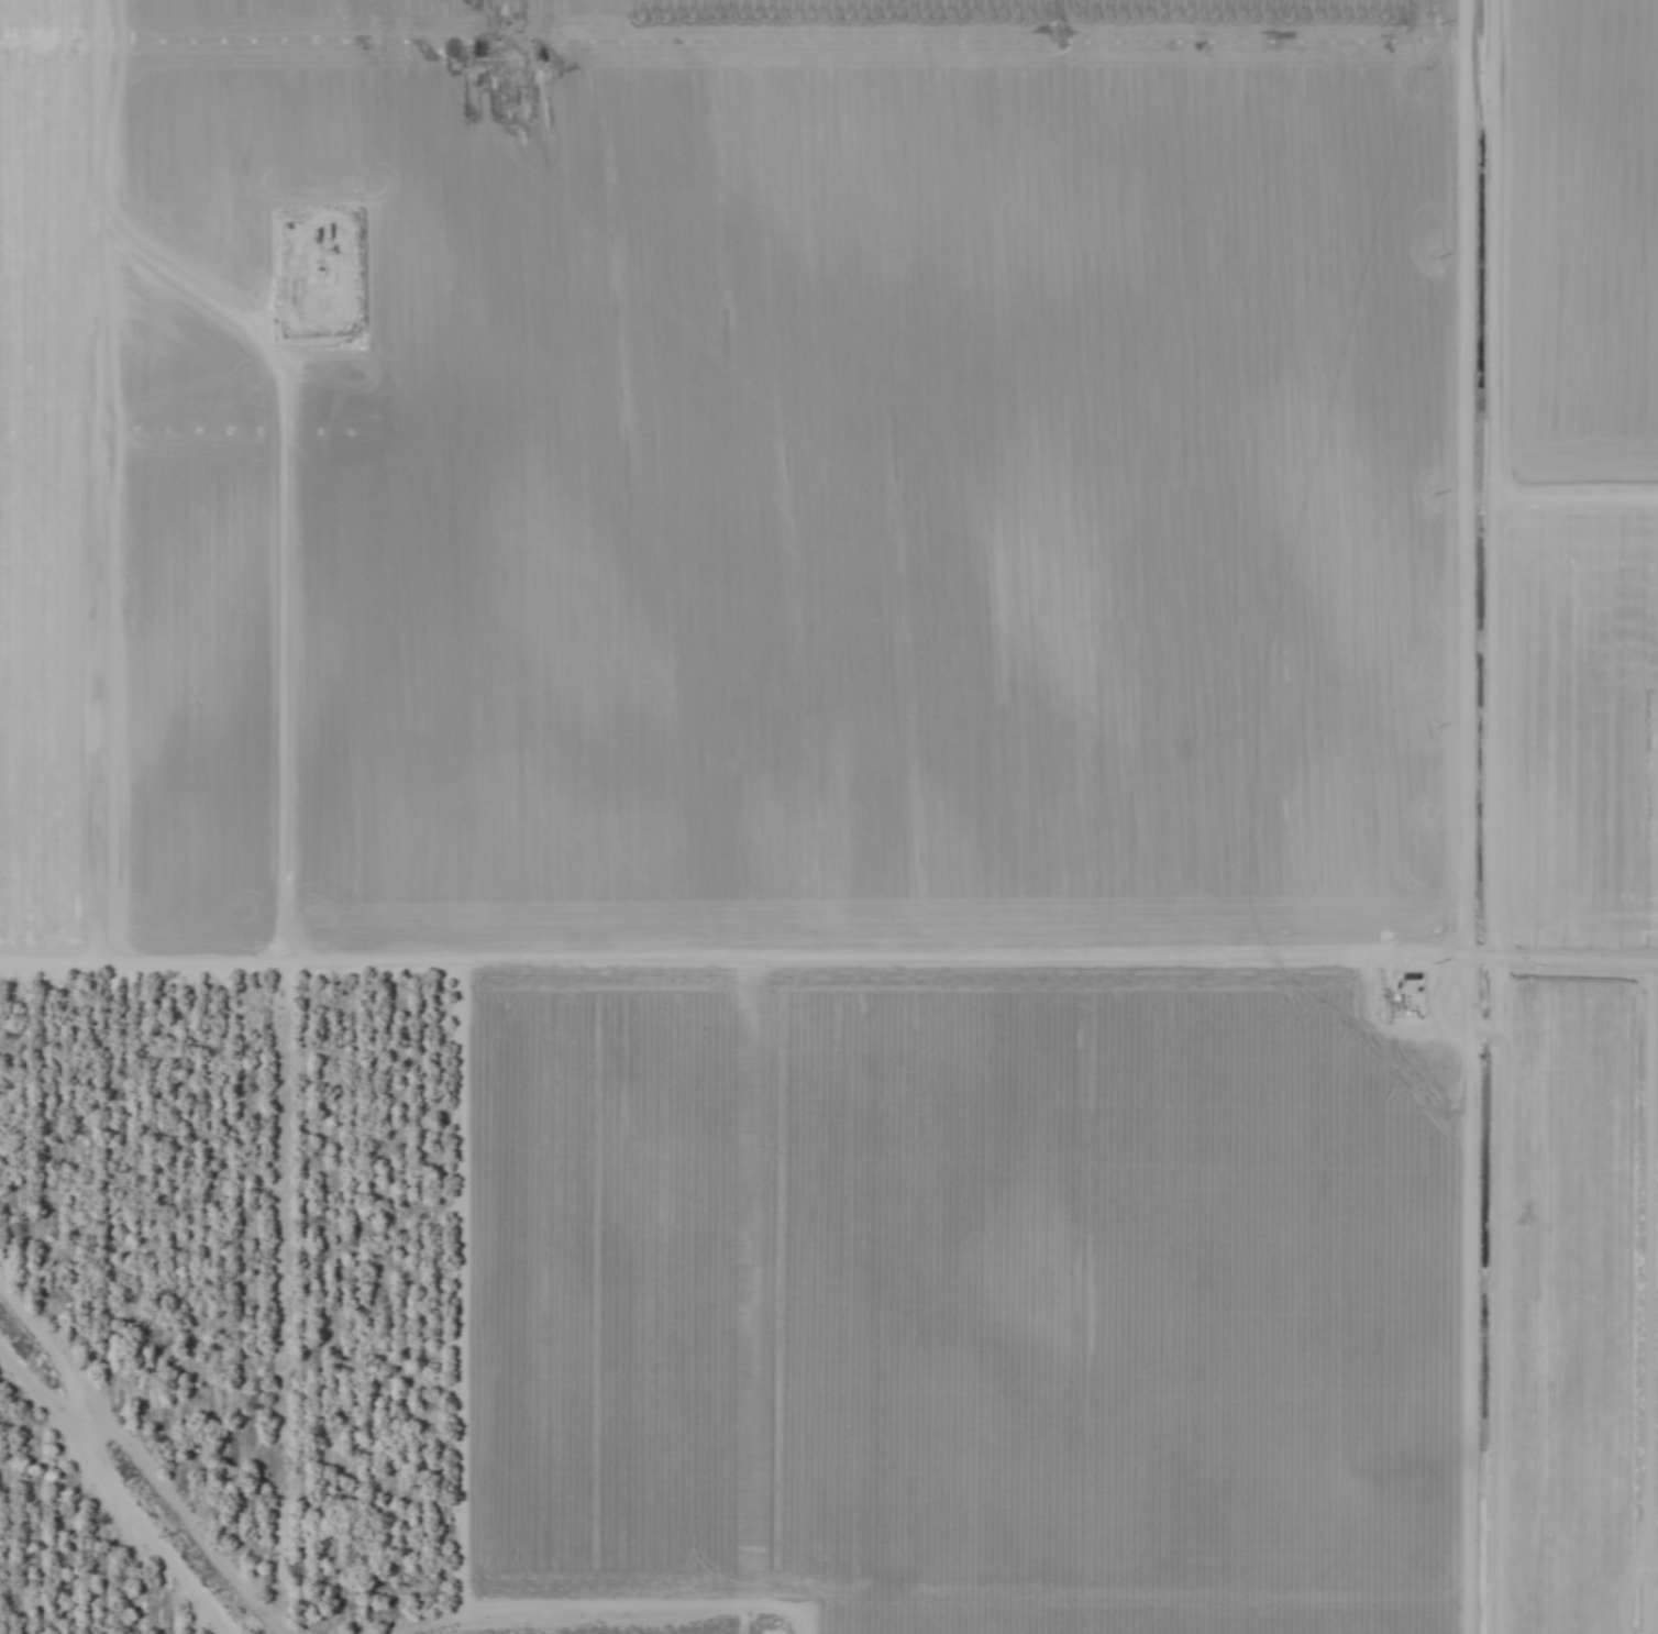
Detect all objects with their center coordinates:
road: (1467, 477)
road: (82, 478)
crop: (829, 817)
road: (1064, 956)
road: (235, 958)
road: (1468, 1294)
road: (123, 1462)
road: (452, 1484)

